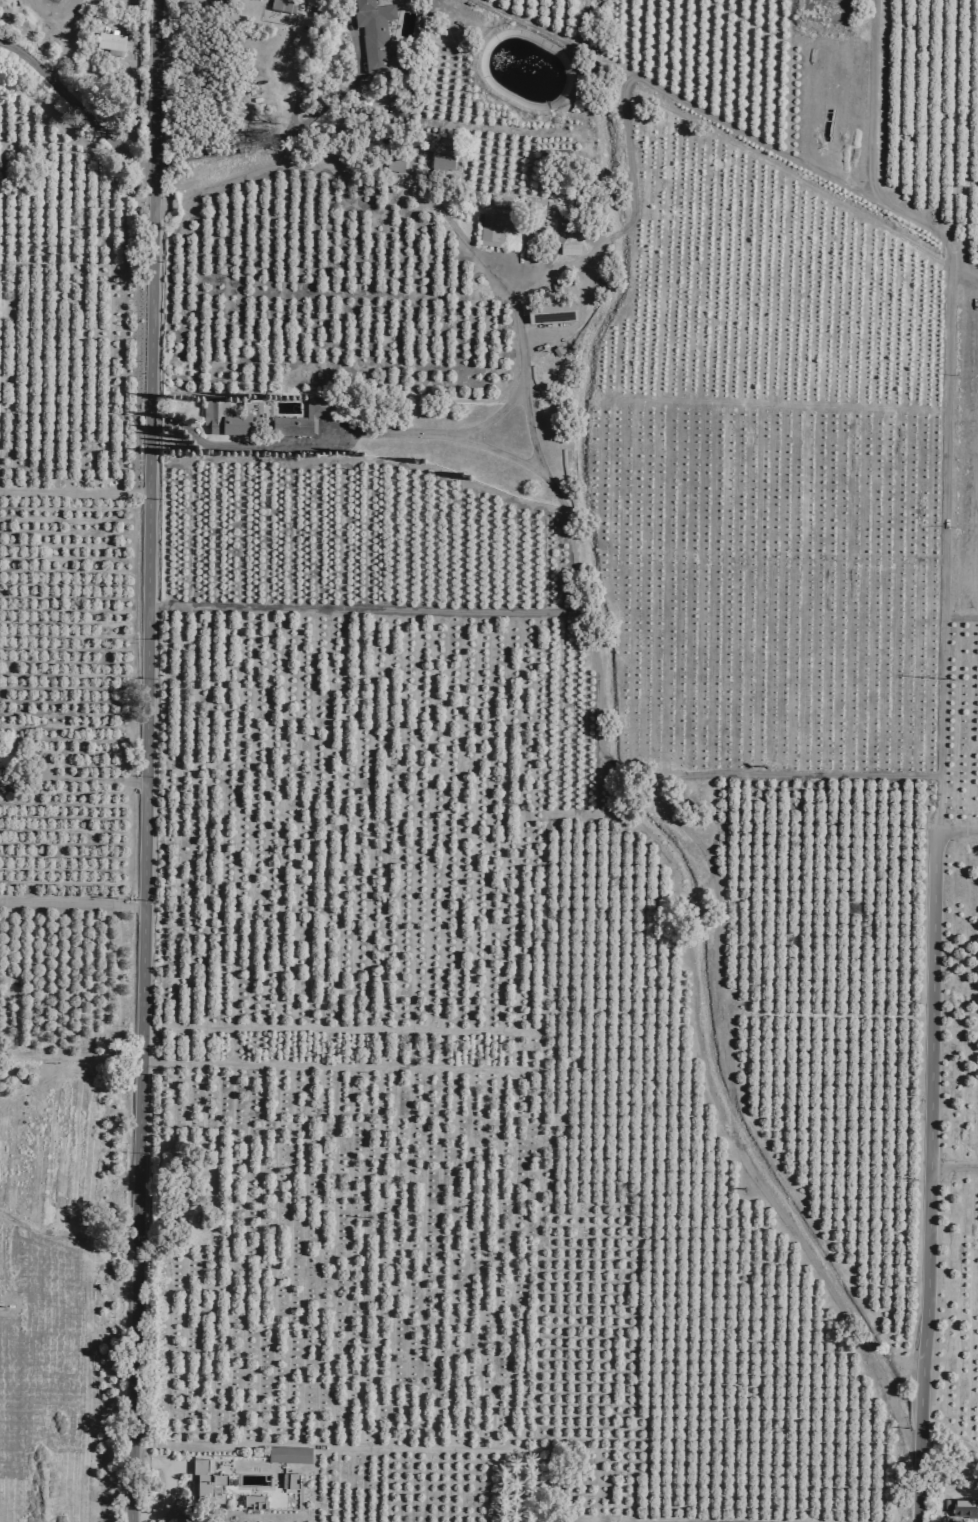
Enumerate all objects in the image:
building: (283, 6)
building: (375, 33)
building: (111, 44)
road: (283, 62)
road: (359, 62)
road: (680, 102)
road: (79, 109)
road: (297, 127)
building: (438, 152)
road: (431, 204)
building: (542, 209)
building: (499, 228)
building: (977, 248)
road: (964, 279)
building: (549, 312)
road: (948, 397)
building: (226, 421)
building: (295, 428)
road: (531, 434)
road: (492, 452)
road: (75, 494)
road: (366, 611)
road: (147, 761)
road: (616, 768)
road: (93, 779)
road: (956, 836)
road: (73, 905)
road: (717, 916)
road: (931, 1113)
road: (733, 1118)
road: (954, 1169)
road: (834, 1296)
road: (922, 1417)
building: (290, 1454)
building: (207, 1481)
building: (290, 1481)
road: (919, 1482)
road: (168, 1495)
building: (254, 1501)
building: (964, 1502)

